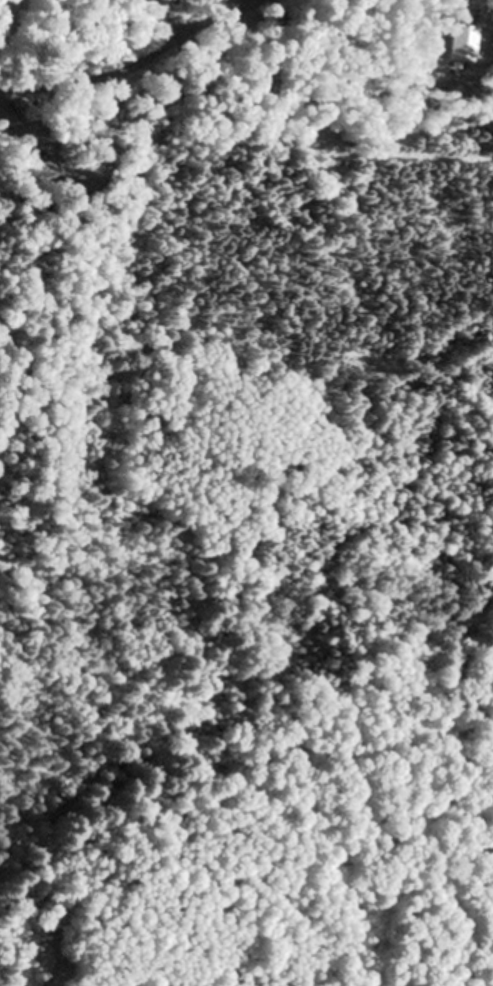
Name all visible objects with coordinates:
building: (117, 2)

